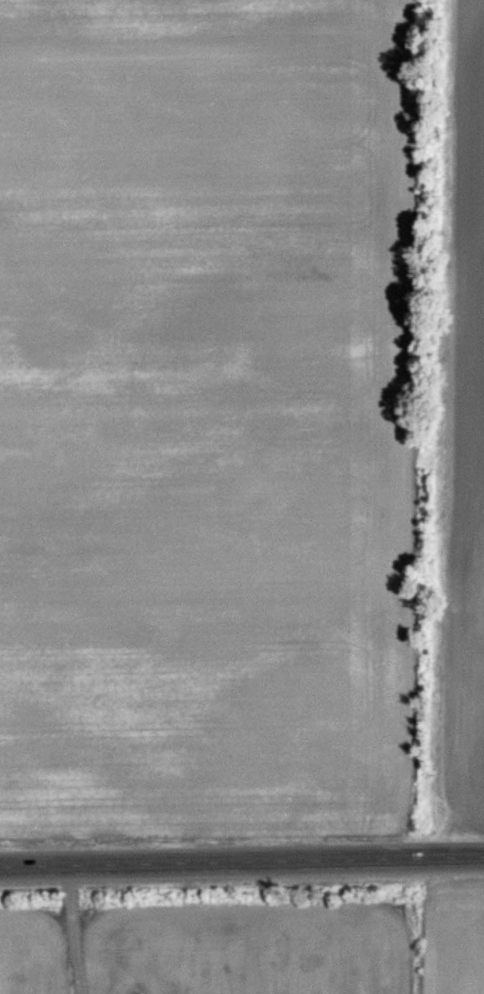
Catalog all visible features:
road: (242, 864)
road: (72, 930)

